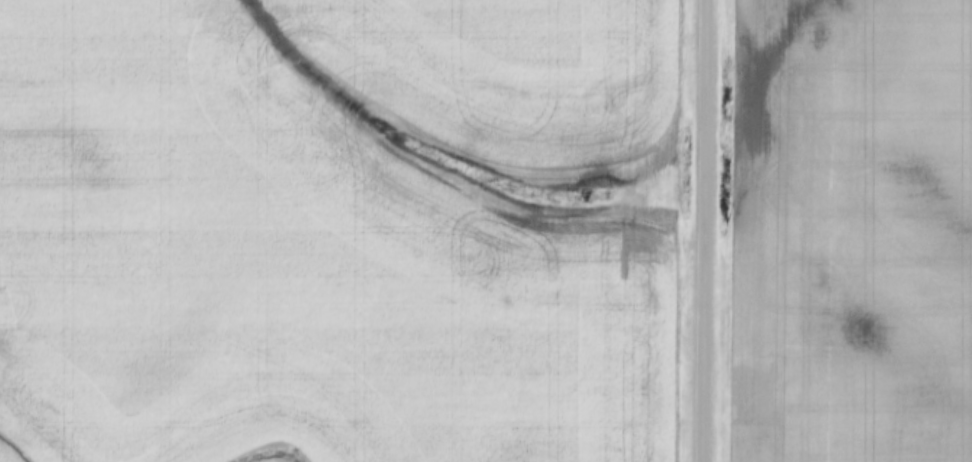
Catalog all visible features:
road: (702, 231)

